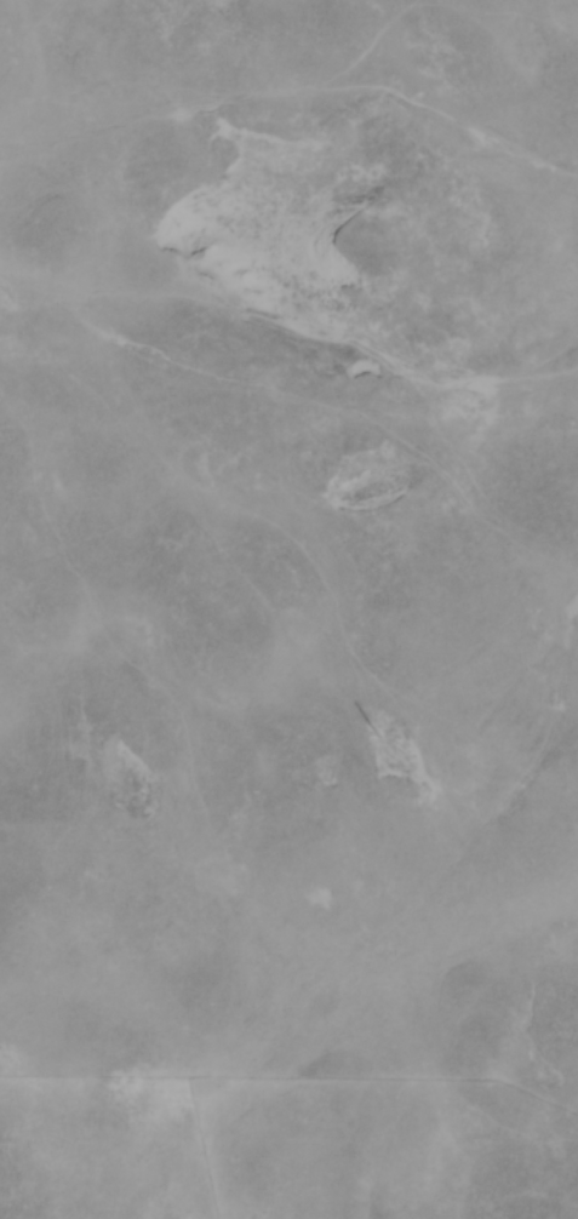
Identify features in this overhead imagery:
power tower: (373, 731)

